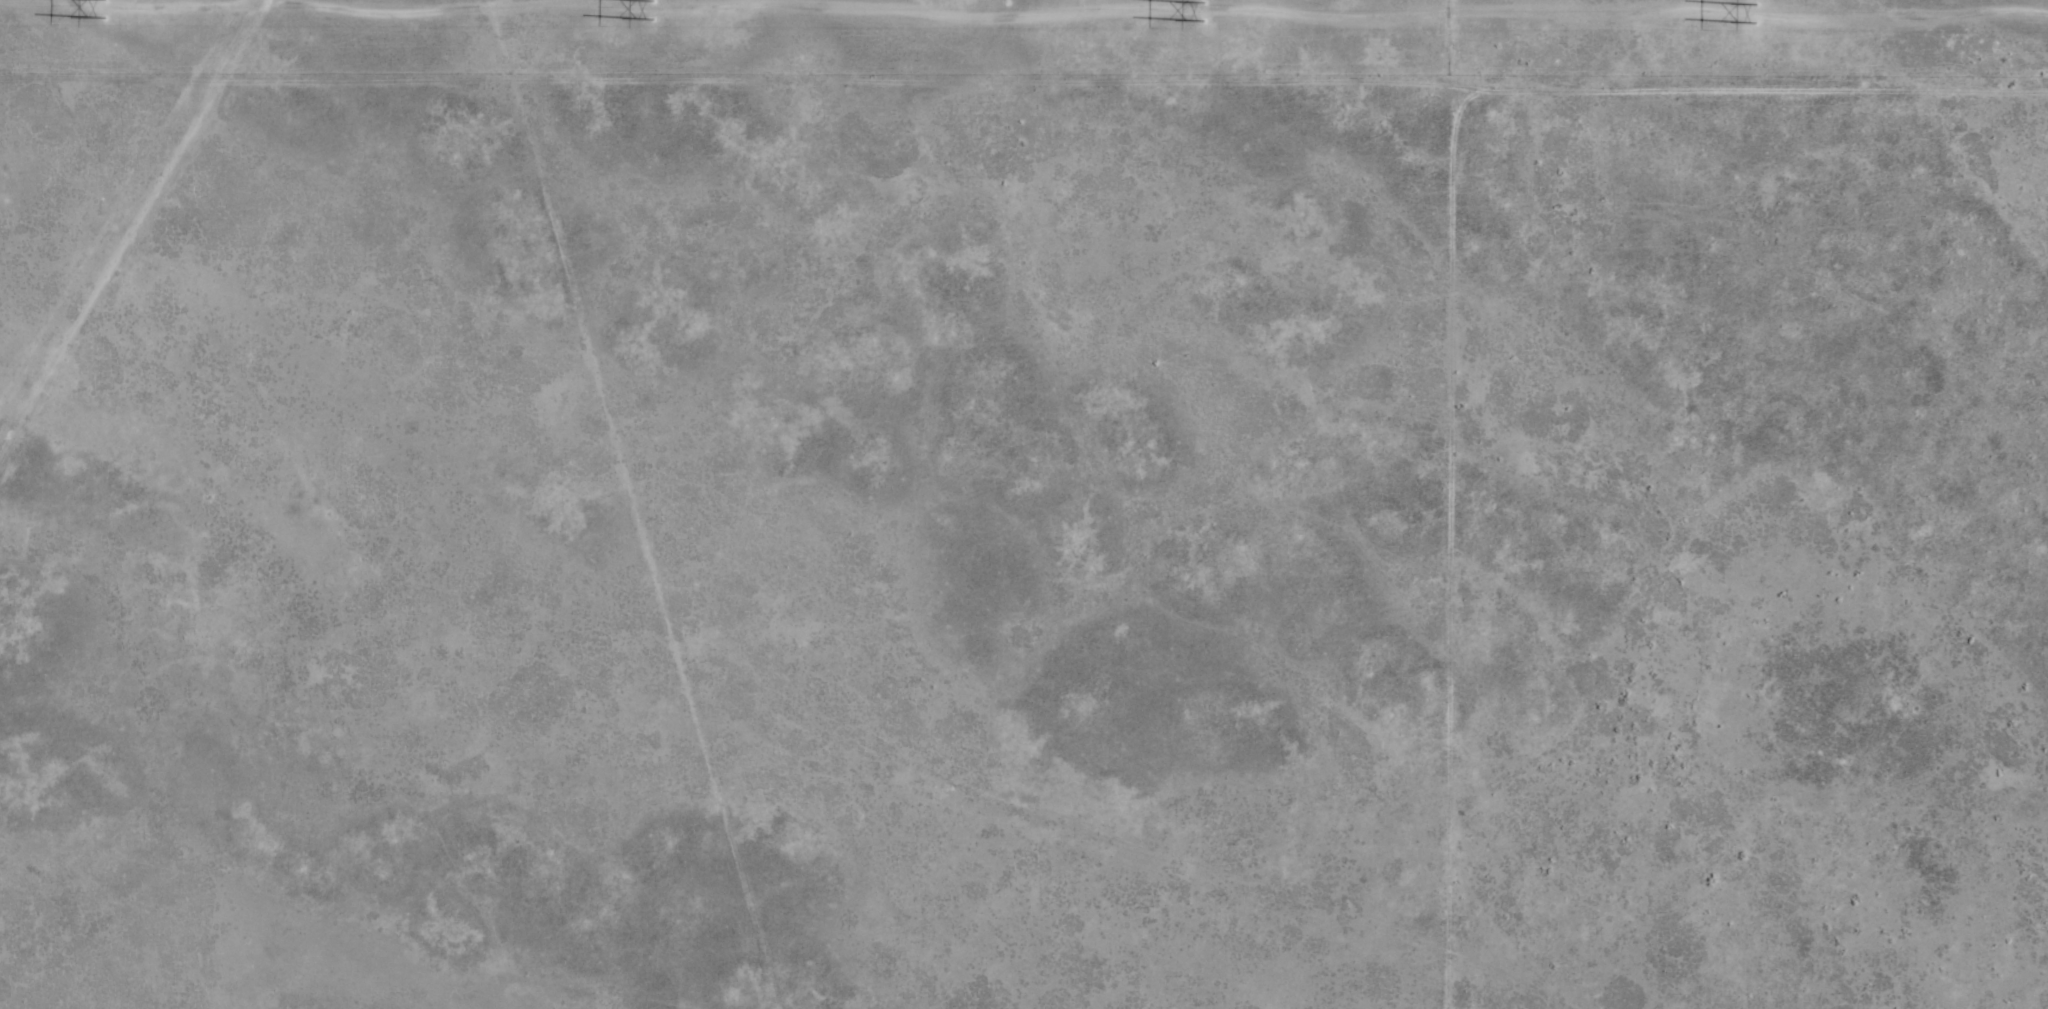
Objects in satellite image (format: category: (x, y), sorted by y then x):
power tower: (1198, 0)
power tower: (97, 1)
power tower: (1750, 2)
road: (1381, 245)

